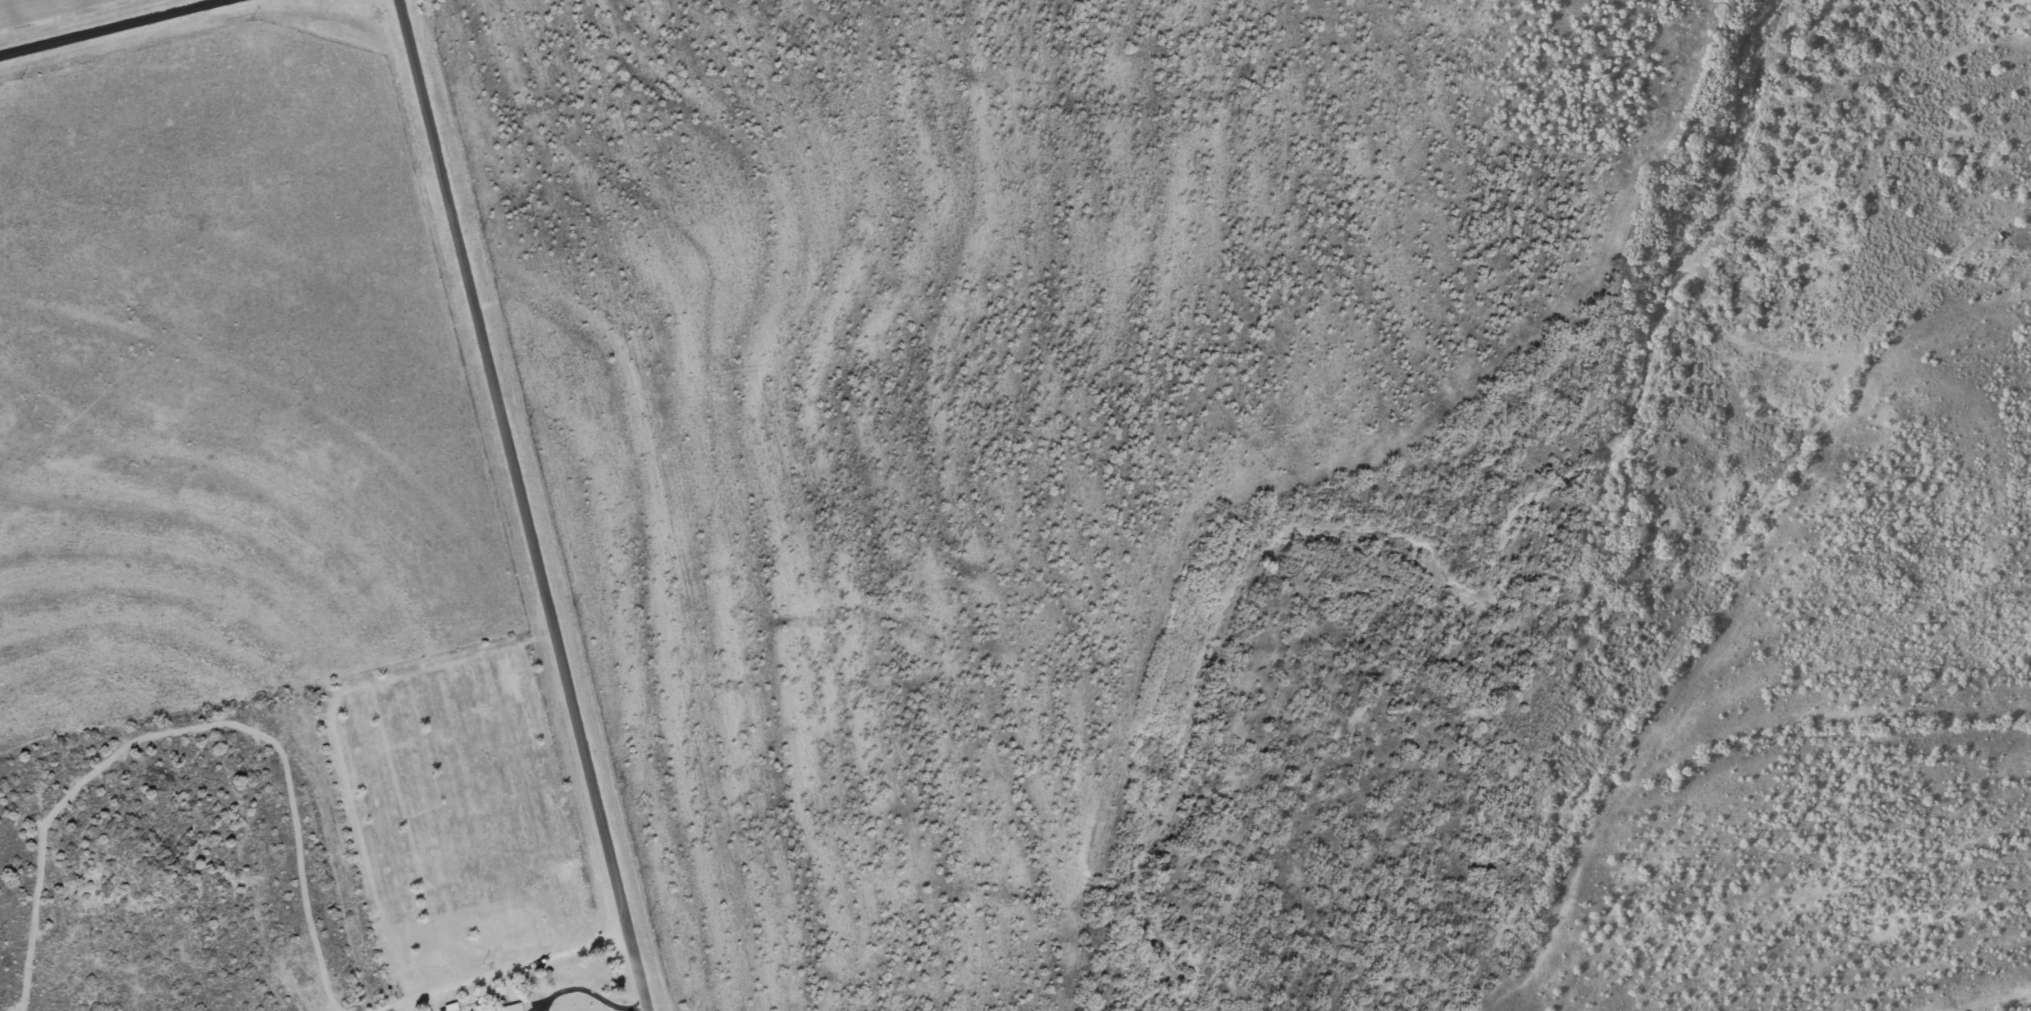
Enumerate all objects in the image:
road: (104, 25)
road: (527, 505)
road: (278, 690)
building: (514, 1007)

